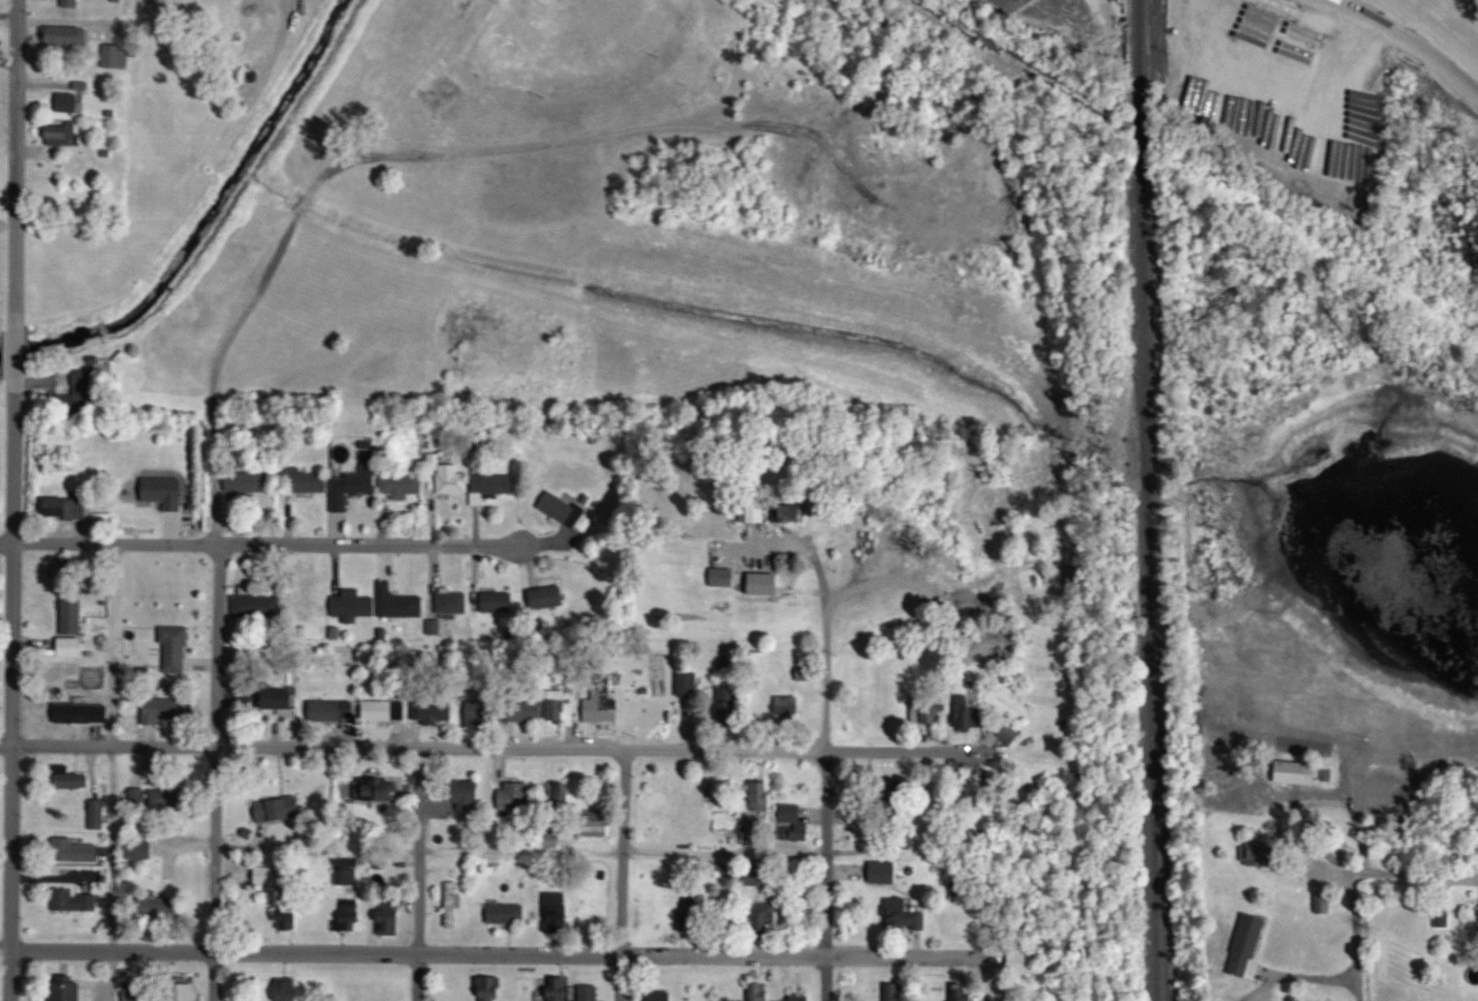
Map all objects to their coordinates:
building: (67, 35)
road: (1405, 46)
building: (115, 57)
road: (409, 78)
building: (704, 93)
building: (68, 103)
building: (63, 134)
road: (391, 153)
road: (17, 163)
road: (16, 347)
building: (307, 480)
building: (248, 482)
building: (474, 483)
building: (401, 485)
building: (353, 486)
building: (165, 492)
railway: (1150, 500)
building: (59, 507)
building: (557, 507)
building: (757, 511)
road: (261, 543)
building: (0, 575)
building: (723, 576)
road: (433, 580)
building: (547, 598)
building: (487, 601)
building: (398, 603)
building: (452, 603)
building: (307, 605)
building: (352, 605)
building: (255, 606)
building: (72, 612)
road: (819, 639)
building: (175, 649)
road: (10, 683)
building: (688, 685)
building: (277, 699)
building: (728, 705)
building: (558, 706)
building: (602, 706)
building: (788, 708)
building: (168, 710)
building: (384, 710)
building: (527, 710)
building: (331, 711)
building: (433, 711)
building: (81, 712)
building: (484, 712)
building: (969, 713)
building: (1009, 730)
road: (490, 747)
road: (215, 772)
building: (1294, 772)
building: (69, 779)
building: (379, 790)
building: (559, 793)
building: (761, 794)
building: (514, 795)
building: (167, 797)
building: (468, 801)
building: (271, 811)
building: (790, 813)
building: (98, 816)
building: (599, 826)
building: (140, 848)
road: (316, 849)
road: (621, 850)
building: (74, 851)
road: (1412, 870)
building: (346, 871)
building: (884, 871)
road: (114, 873)
road: (417, 874)
road: (623, 875)
road: (826, 876)
building: (757, 878)
building: (74, 901)
building: (451, 904)
building: (160, 907)
building: (290, 908)
building: (557, 910)
building: (507, 913)
building: (391, 915)
building: (692, 915)
building: (904, 915)
building: (351, 916)
building: (764, 918)
building: (1247, 944)
road: (486, 953)
road: (1350, 965)
building: (184, 988)
building: (492, 990)
building: (66, 991)
building: (135, 991)
building: (288, 991)
building: (895, 992)
building: (756, 994)
building: (557, 996)
building: (657, 996)
building: (589, 997)
building: (795, 997)
building: (965, 1000)

